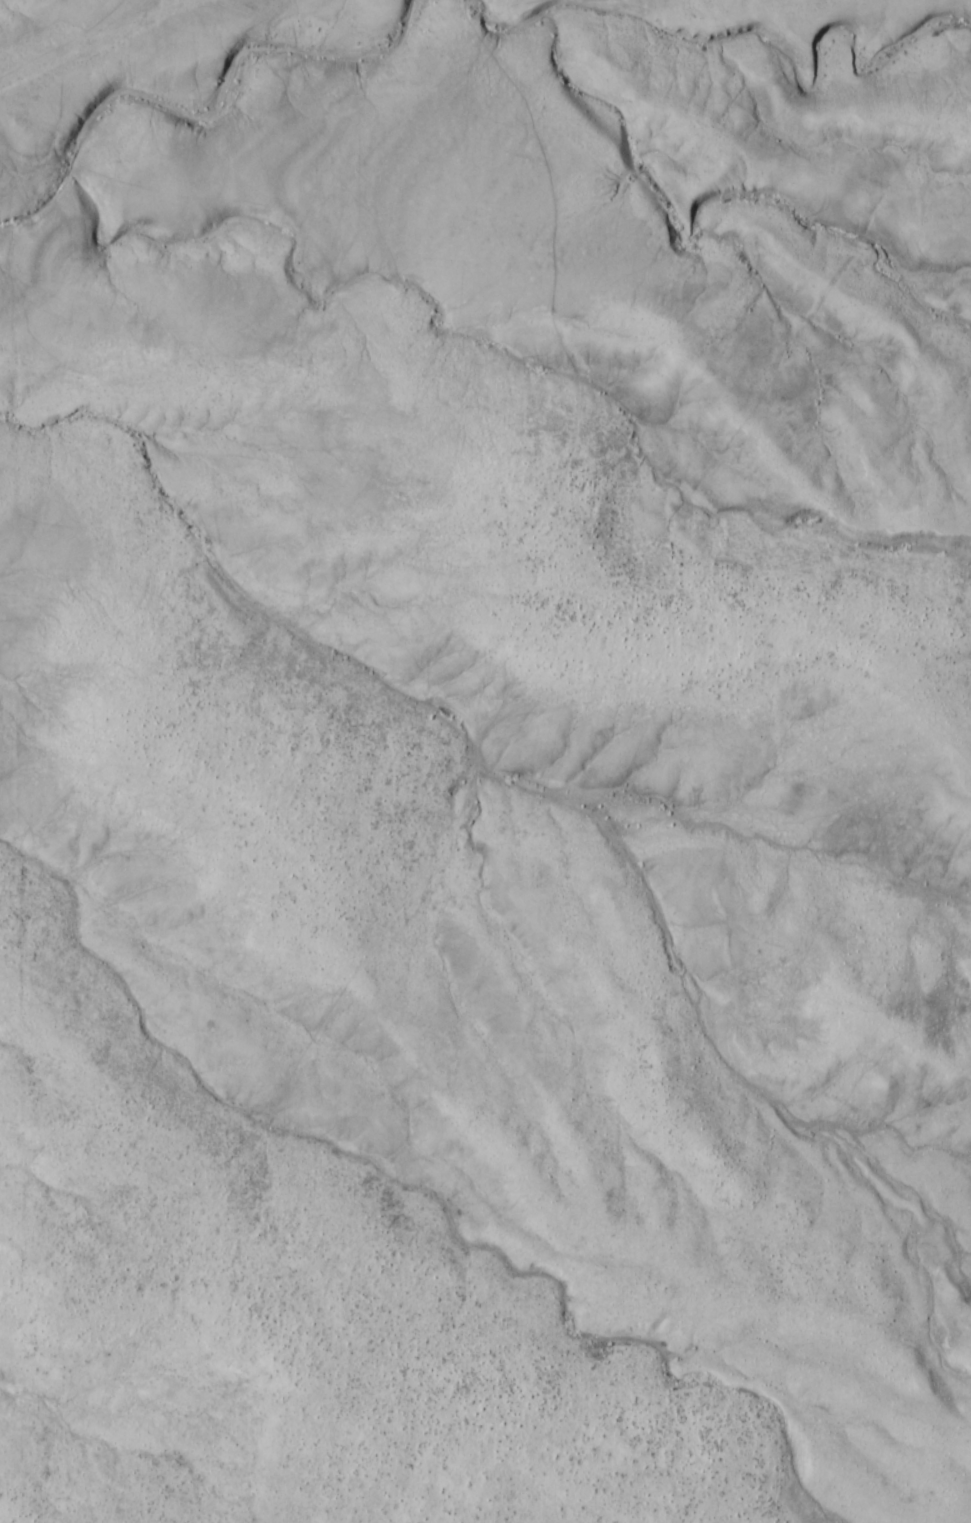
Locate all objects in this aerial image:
road: (48, 21)

